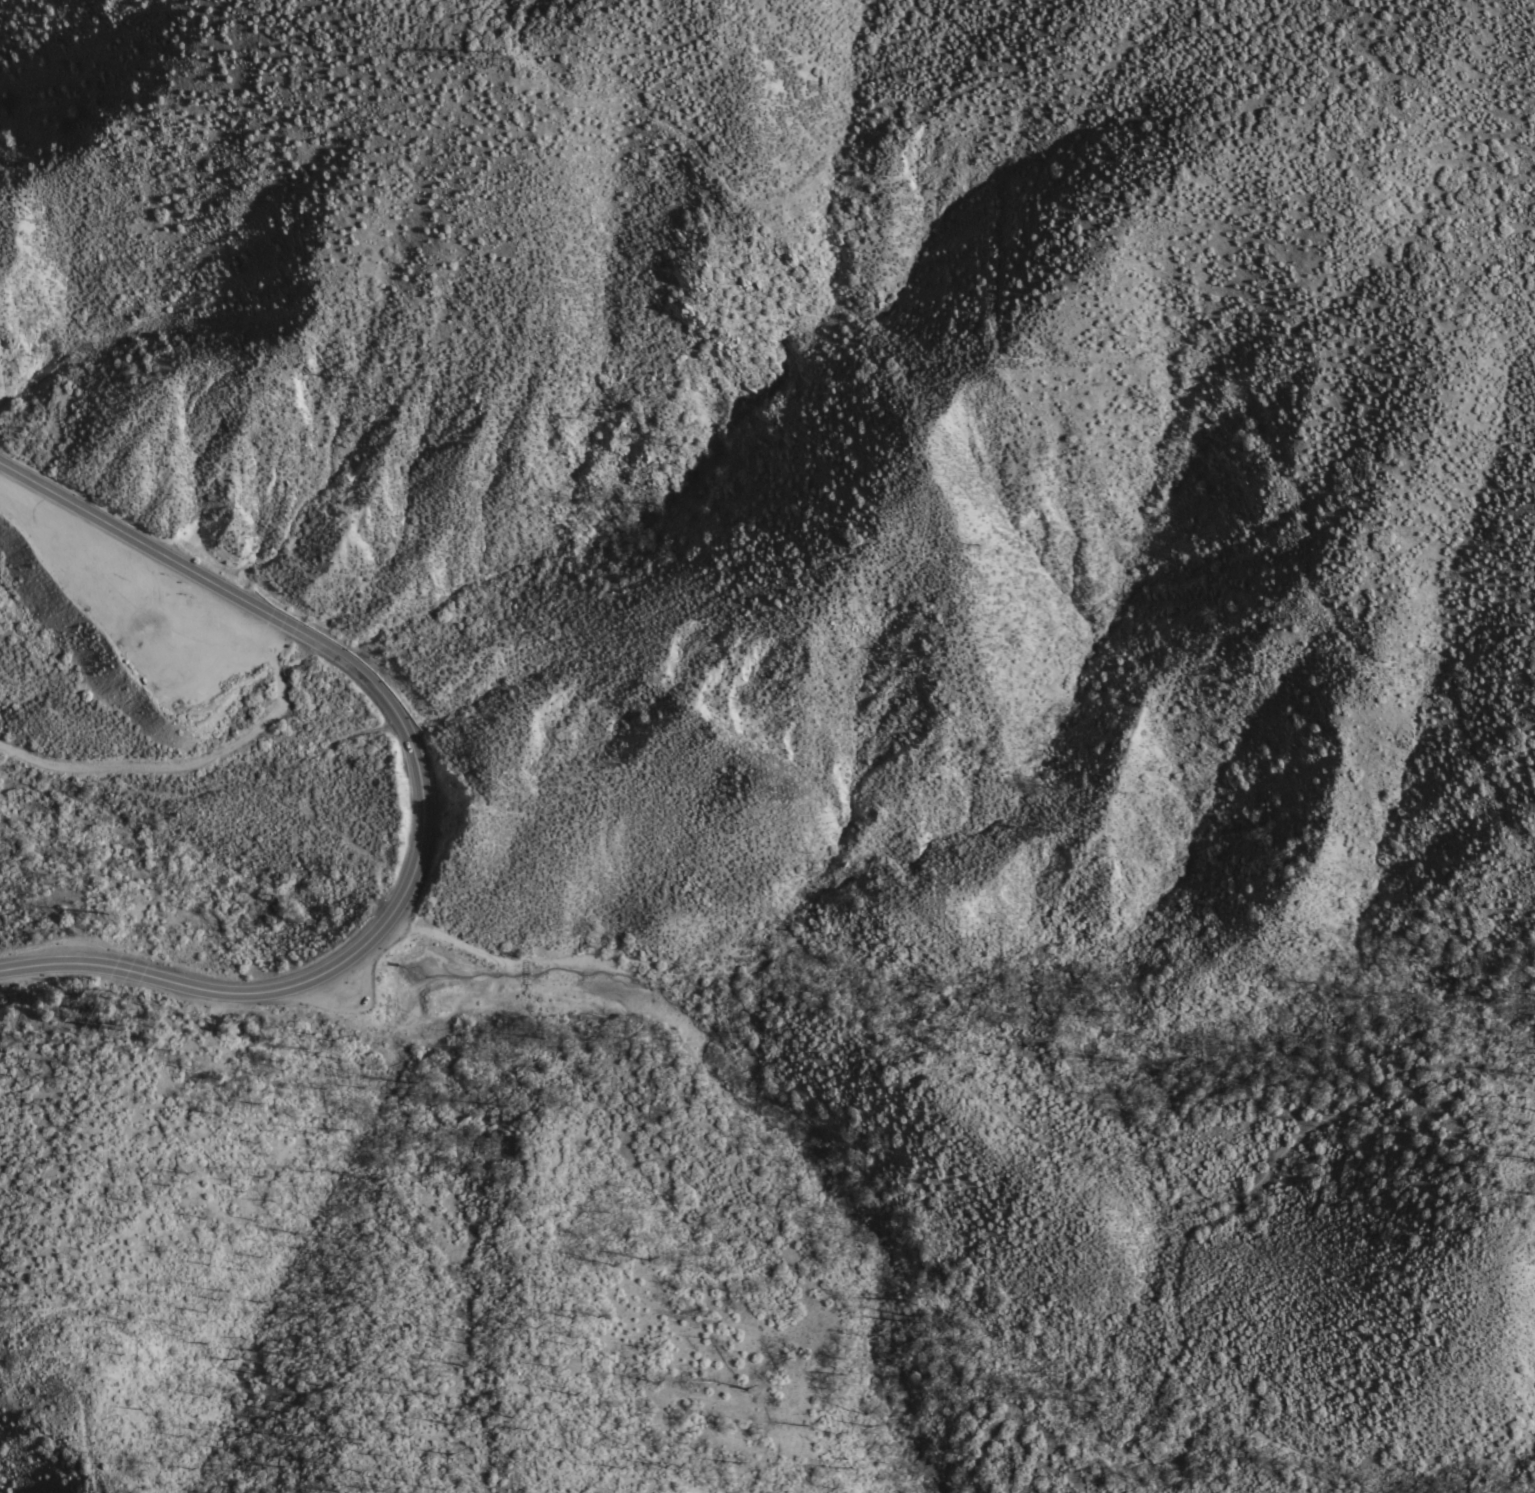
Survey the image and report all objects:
power tower: (517, 60)
power tower: (321, 784)
road: (420, 788)

